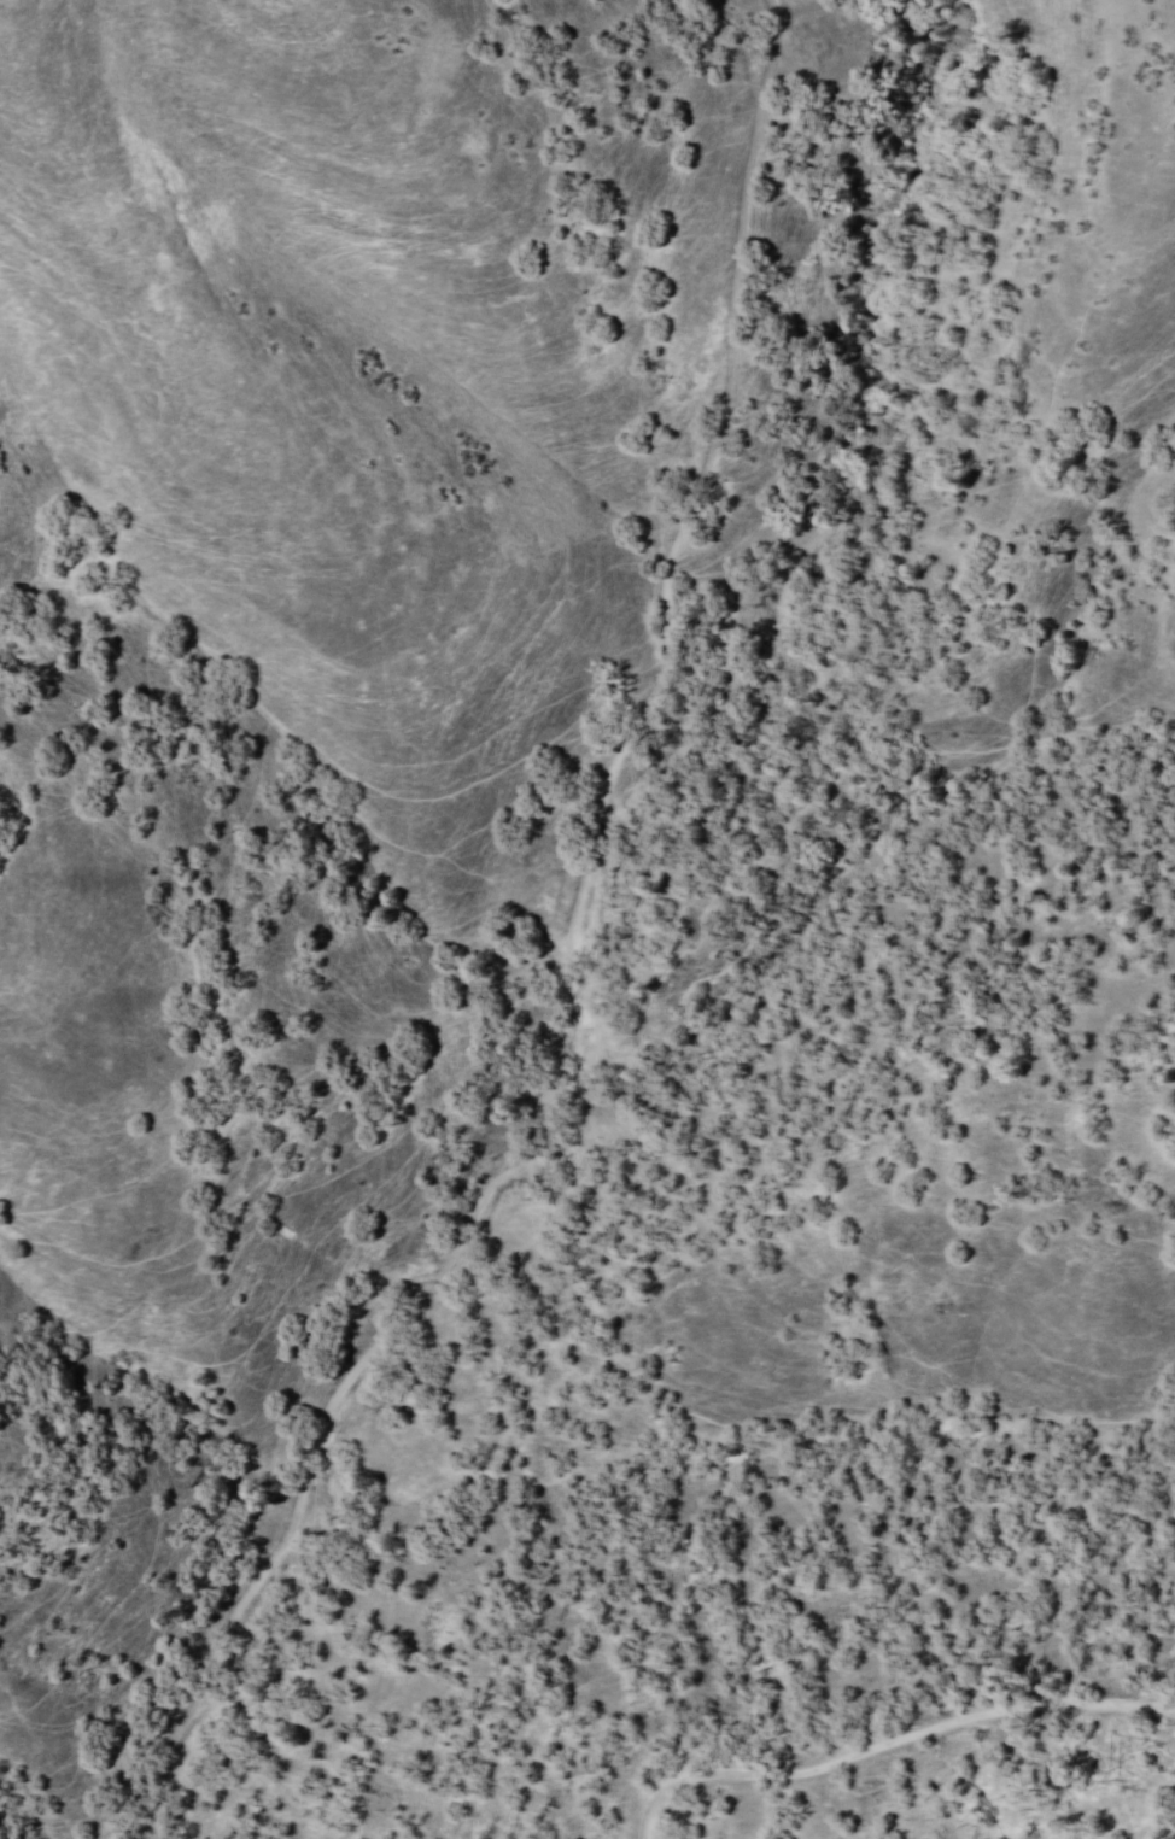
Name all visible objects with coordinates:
road: (869, 1676)

